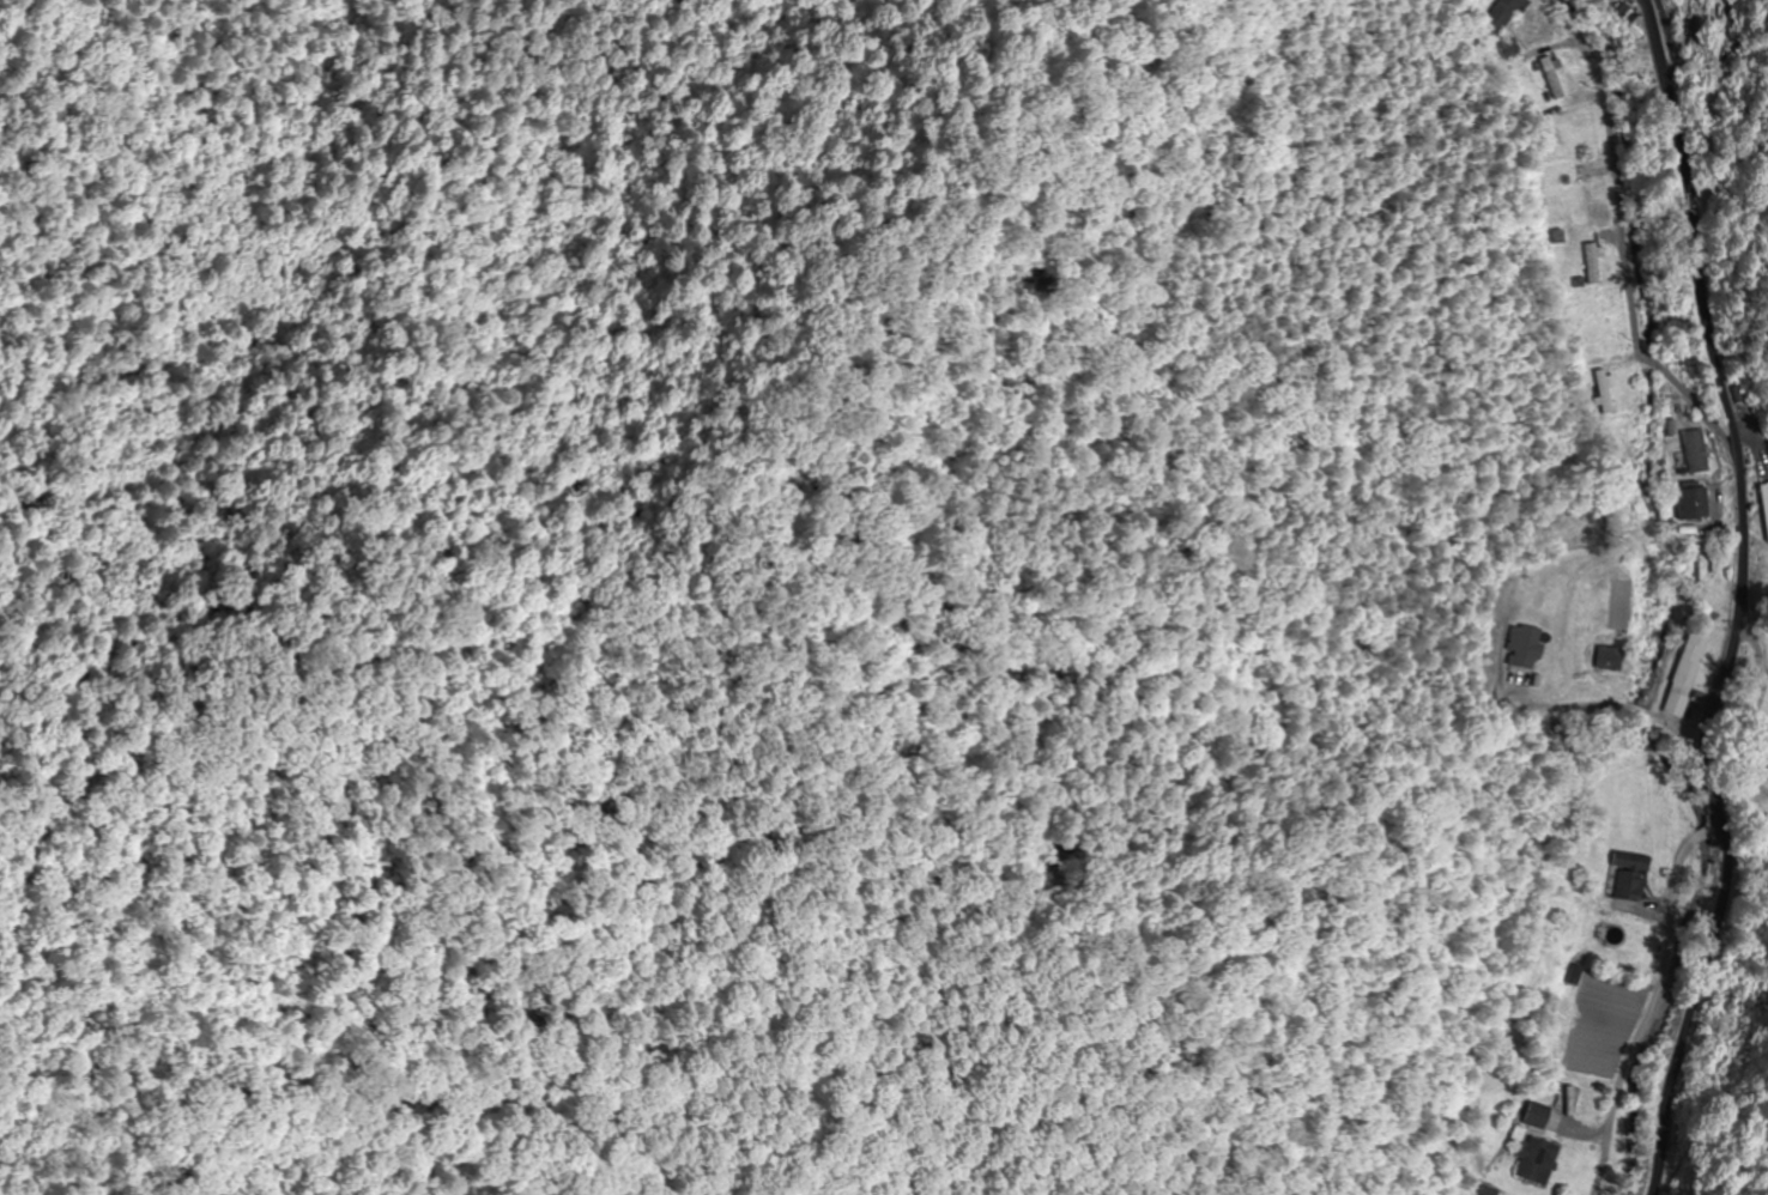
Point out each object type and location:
building: (1503, 13)
building: (1618, 16)
building: (1569, 115)
building: (1575, 190)
road: (1619, 233)
building: (1591, 265)
building: (1693, 453)
building: (1766, 497)
building: (1690, 504)
building: (1701, 577)
road: (1742, 600)
building: (1525, 648)
building: (1607, 660)
building: (1684, 677)
building: (1761, 757)
building: (1629, 876)
building: (1537, 1116)
building: (1537, 1161)

